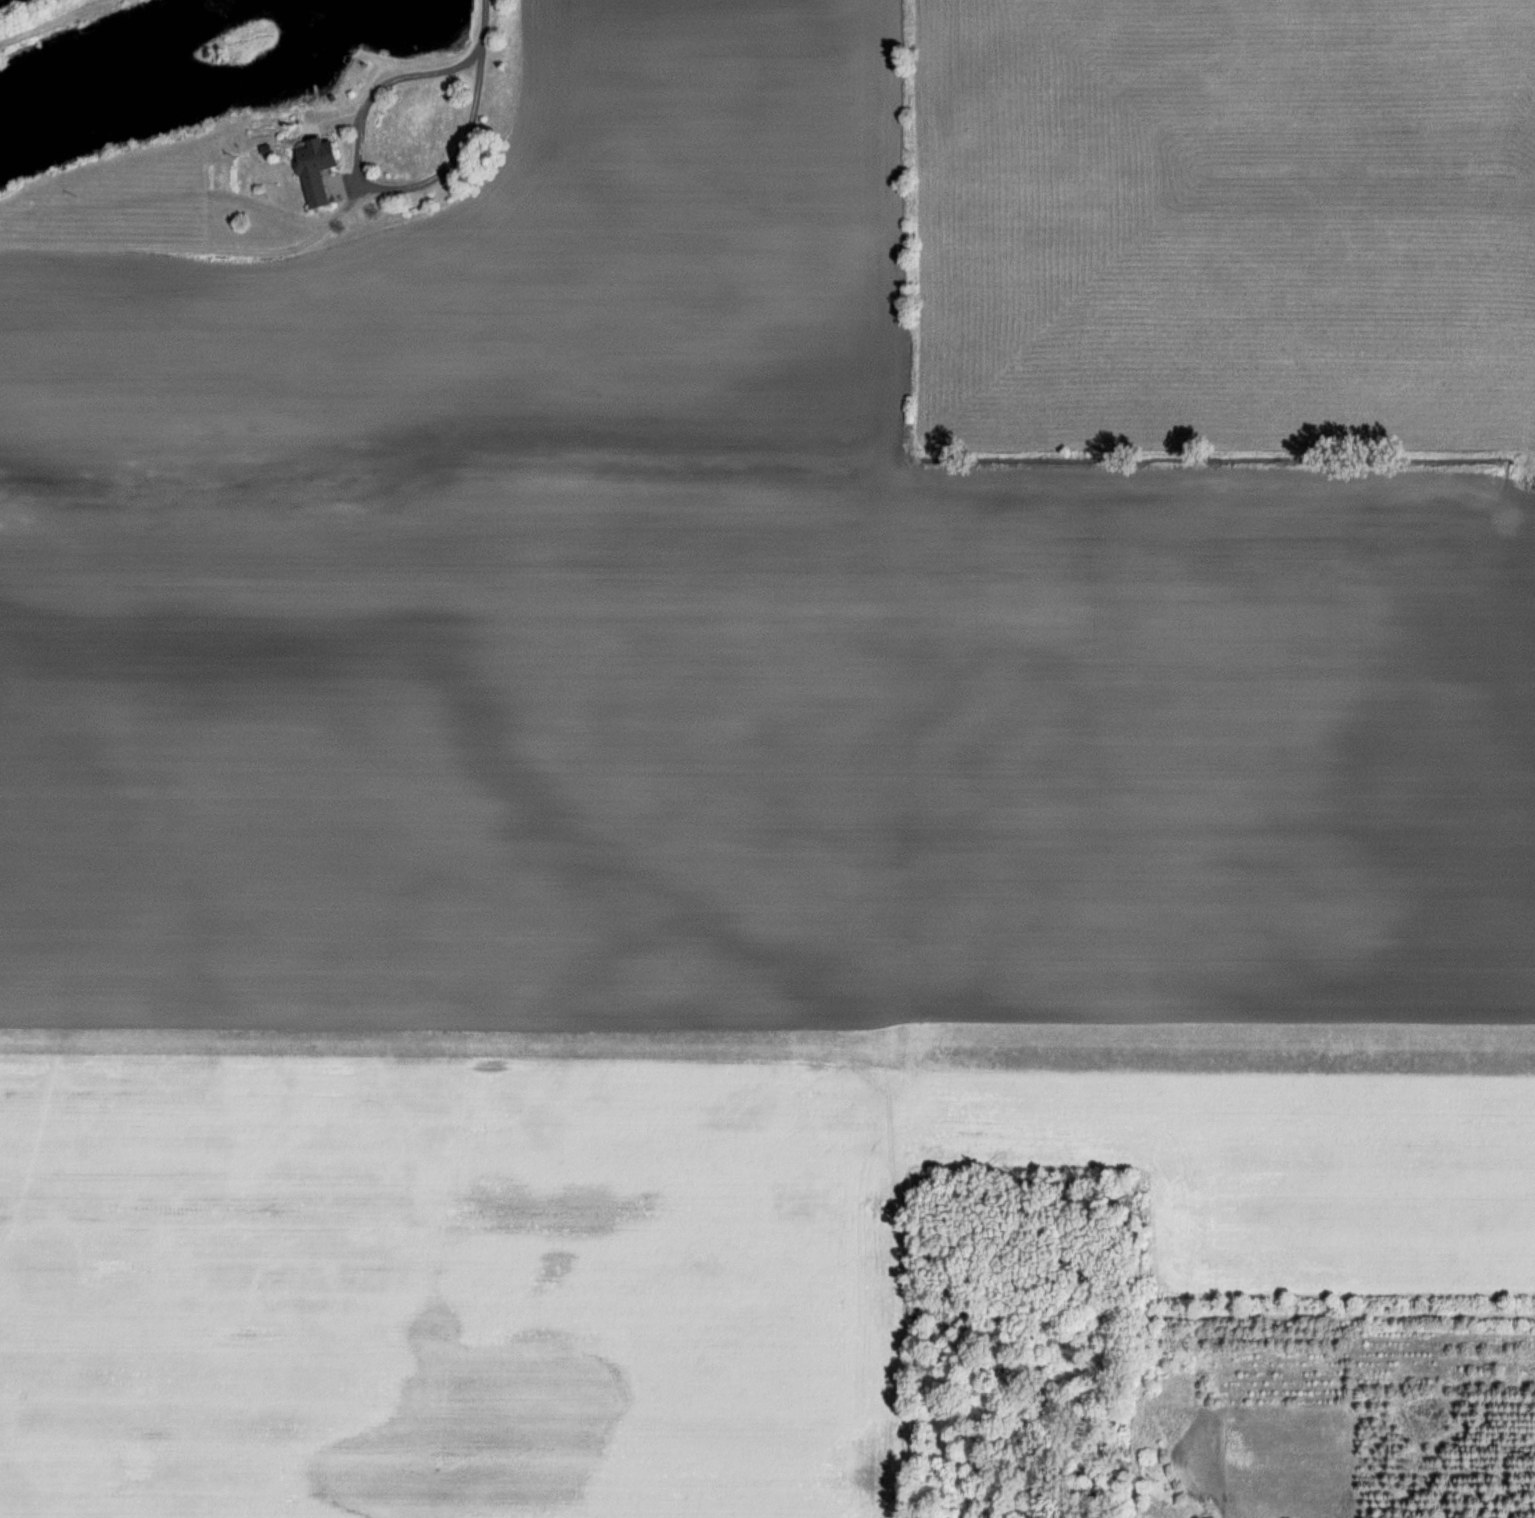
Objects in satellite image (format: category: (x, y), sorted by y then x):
road: (380, 80)
building: (317, 169)
road: (318, 229)

